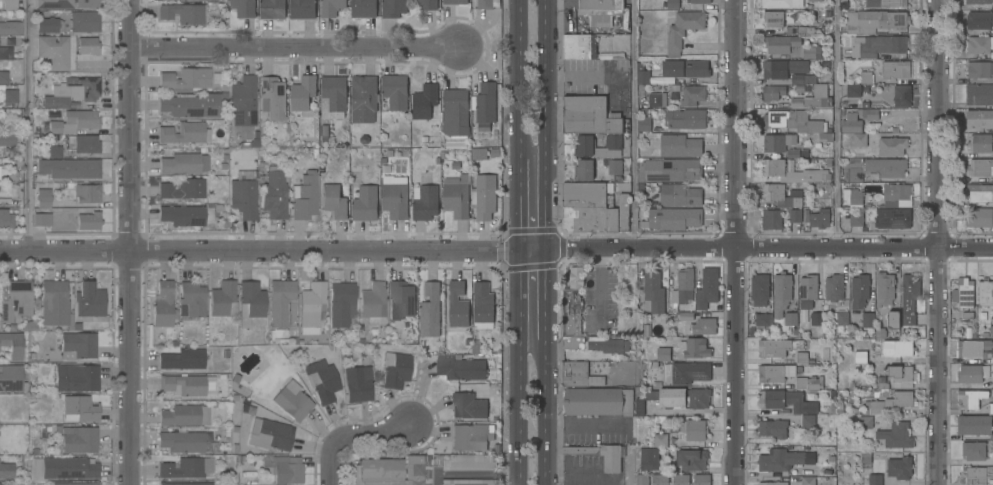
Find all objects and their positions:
building: (454, 1)
building: (700, 1)
building: (815, 1)
building: (978, 1)
building: (65, 3)
building: (781, 3)
building: (894, 3)
building: (9, 4)
building: (428, 4)
building: (487, 4)
building: (671, 4)
building: (871, 4)
building: (243, 7)
building: (331, 7)
building: (599, 7)
building: (363, 8)
building: (393, 8)
building: (272, 9)
building: (302, 9)
building: (182, 13)
building: (773, 18)
building: (979, 19)
building: (875, 20)
building: (600, 21)
building: (84, 22)
building: (49, 25)
building: (11, 28)
building: (683, 29)
building: (796, 29)
building: (781, 43)
building: (881, 44)
building: (979, 44)
building: (88, 45)
building: (580, 46)
road: (293, 49)
building: (53, 51)
building: (812, 52)
building: (5, 53)
road: (521, 66)
building: (895, 69)
building: (979, 69)
building: (683, 71)
road: (584, 76)
building: (3, 77)
building: (865, 77)
building: (185, 79)
building: (796, 81)
building: (83, 87)
building: (853, 90)
building: (395, 91)
building: (773, 91)
building: (303, 92)
building: (364, 93)
building: (979, 94)
building: (692, 95)
building: (902, 95)
building: (10, 96)
building: (333, 96)
building: (273, 98)
building: (657, 99)
building: (55, 101)
building: (424, 101)
building: (244, 102)
building: (486, 102)
building: (190, 105)
building: (867, 110)
building: (455, 112)
building: (589, 115)
building: (686, 118)
building: (979, 118)
building: (73, 122)
road: (25, 123)
road: (547, 123)
building: (643, 123)
building: (795, 123)
building: (851, 123)
road: (631, 124)
road: (834, 124)
building: (184, 132)
building: (796, 138)
building: (859, 139)
building: (5, 142)
building: (583, 143)
building: (773, 143)
building: (981, 143)
building: (83, 144)
building: (680, 146)
building: (892, 146)
building: (54, 152)
building: (793, 153)
building: (182, 163)
building: (615, 166)
building: (886, 167)
building: (979, 167)
building: (68, 168)
building: (584, 169)
building: (669, 170)
building: (773, 171)
building: (853, 172)
building: (620, 186)
building: (182, 189)
road: (520, 190)
building: (86, 193)
building: (274, 193)
building: (981, 194)
building: (456, 195)
building: (679, 195)
building: (780, 195)
building: (895, 195)
building: (44, 196)
building: (304, 196)
building: (395, 196)
building: (484, 196)
building: (852, 196)
building: (244, 197)
building: (334, 201)
building: (364, 202)
building: (426, 202)
building: (593, 208)
building: (182, 215)
building: (795, 215)
building: (979, 217)
building: (680, 218)
building: (819, 218)
building: (856, 218)
building: (894, 218)
building: (6, 219)
building: (41, 219)
building: (772, 219)
building: (88, 221)
road: (128, 242)
road: (736, 242)
road: (941, 242)
road: (496, 246)
traffic signals: (520, 247)
traffic signals: (546, 247)
building: (834, 287)
building: (884, 288)
building: (708, 289)
building: (760, 289)
building: (653, 290)
building: (807, 290)
building: (859, 290)
building: (684, 291)
building: (781, 292)
building: (965, 292)
building: (985, 292)
building: (192, 298)
building: (401, 298)
building: (89, 299)
building: (222, 299)
building: (909, 299)
building: (15, 301)
building: (250, 302)
building: (373, 302)
road: (546, 302)
building: (281, 303)
building: (341, 303)
building: (572, 303)
building: (54, 304)
building: (457, 304)
building: (163, 305)
building: (483, 305)
building: (311, 306)
building: (430, 310)
building: (687, 317)
building: (761, 318)
building: (790, 318)
building: (838, 318)
building: (868, 319)
building: (893, 319)
building: (817, 320)
building: (30, 324)
building: (704, 326)
building: (647, 330)
building: (991, 330)
building: (595, 343)
building: (12, 345)
building: (77, 345)
building: (778, 346)
building: (694, 347)
building: (897, 347)
building: (973, 348)
building: (663, 354)
building: (801, 357)
building: (860, 357)
building: (992, 358)
building: (182, 359)
road: (520, 366)
building: (460, 367)
building: (395, 369)
building: (686, 371)
building: (774, 372)
building: (573, 373)
building: (972, 373)
building: (901, 375)
building: (76, 378)
building: (11, 379)
building: (321, 380)
building: (596, 381)
building: (357, 383)
building: (809, 383)
building: (188, 385)
building: (651, 395)
building: (671, 397)
building: (699, 397)
building: (970, 398)
building: (784, 400)
building: (292, 401)
building: (598, 401)
building: (893, 401)
building: (468, 405)
building: (640, 407)
building: (990, 407)
building: (79, 409)
building: (184, 415)
building: (807, 420)
road: (546, 421)
building: (865, 421)
road: (583, 422)
building: (975, 424)
building: (772, 427)
building: (694, 429)
building: (270, 434)
building: (896, 435)
building: (469, 437)
building: (79, 439)
road: (353, 439)
building: (660, 440)
building: (182, 441)
building: (974, 450)
building: (649, 458)
building: (691, 459)
building: (783, 459)
building: (467, 462)
building: (611, 463)
building: (899, 467)
building: (63, 468)
building: (185, 468)
building: (284, 469)
building: (6, 470)
building: (390, 471)
road: (631, 471)
road: (24, 473)
road: (233, 474)
road: (580, 474)
building: (977, 474)
road: (472, 475)
building: (642, 479)
building: (659, 479)
building: (680, 479)
building: (701, 479)
building: (875, 479)
building: (808, 480)
building: (468, 482)
building: (185, 483)
building: (772, 483)
building: (74, 484)

